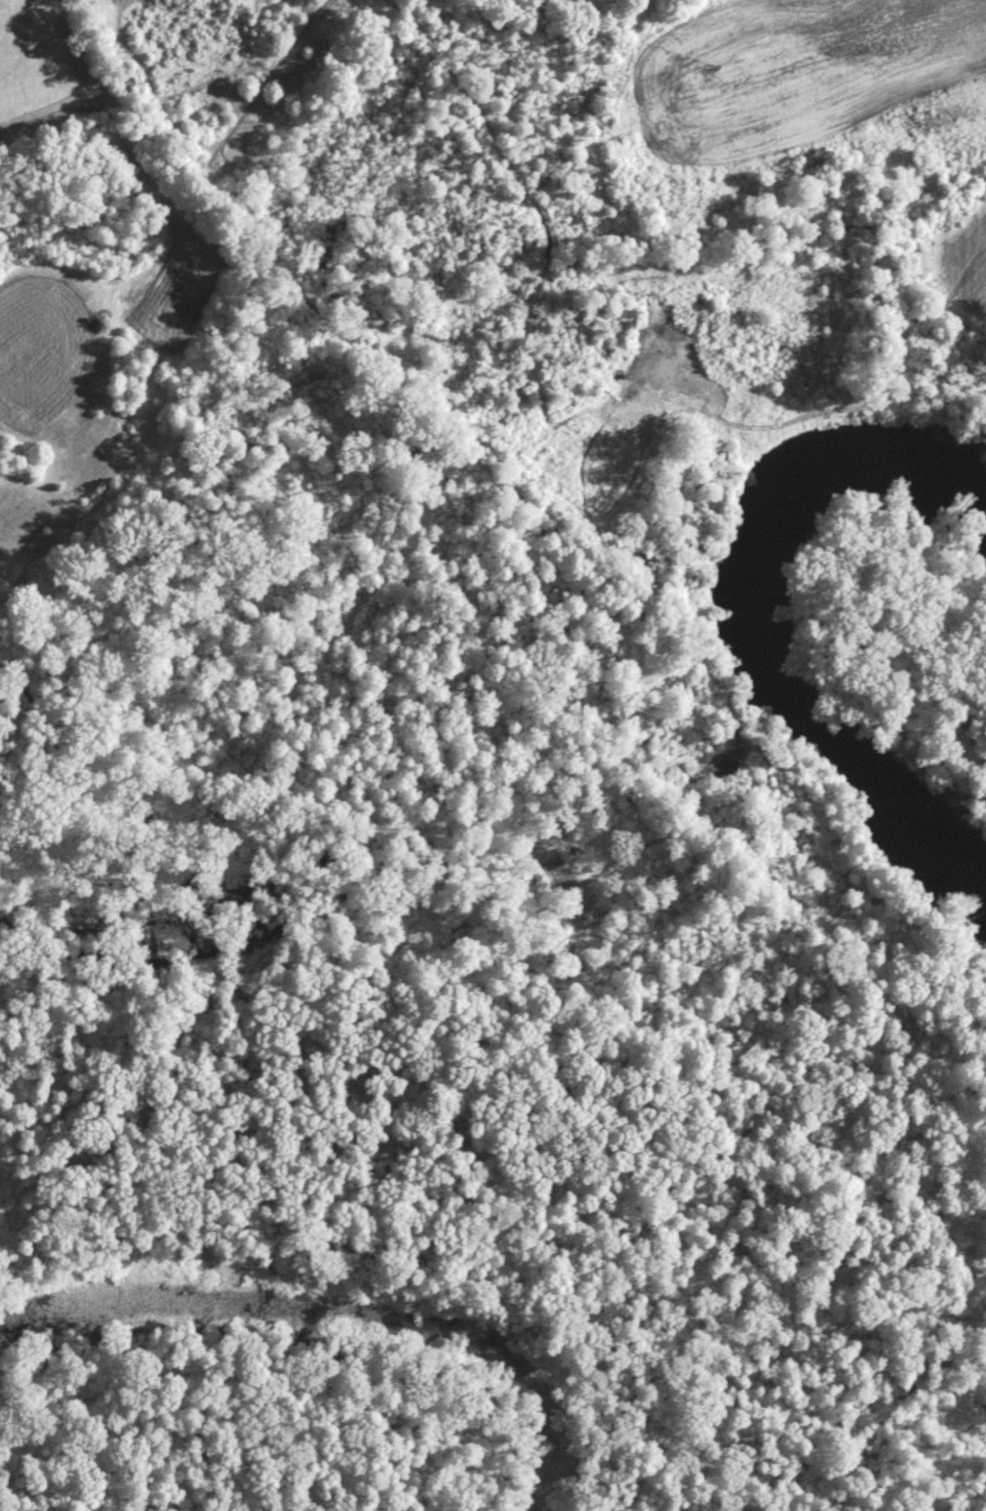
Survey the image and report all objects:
river: (751, 619)

